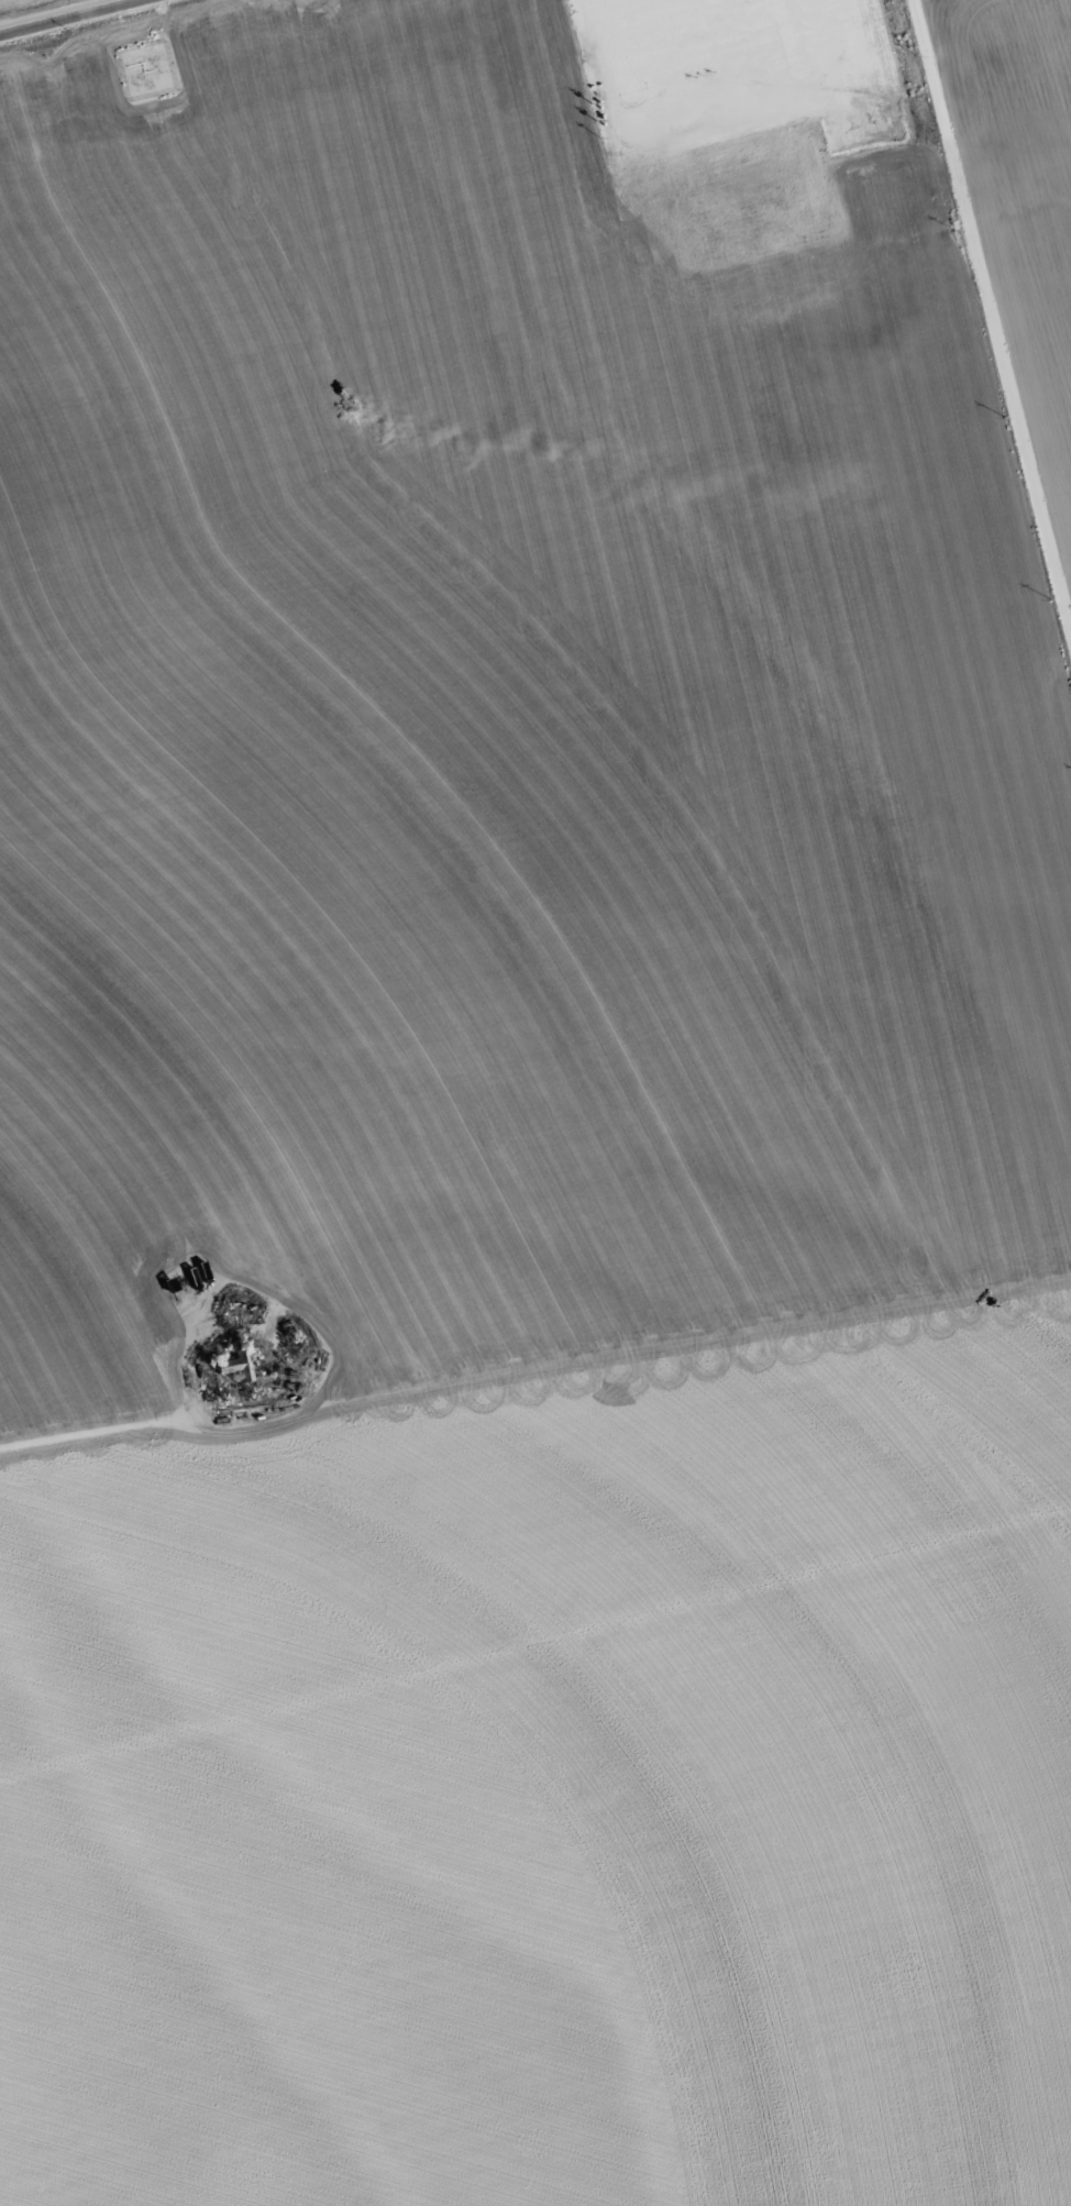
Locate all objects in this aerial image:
road: (69, 16)
road: (1005, 360)
building: (564, 1146)
building: (235, 1366)

